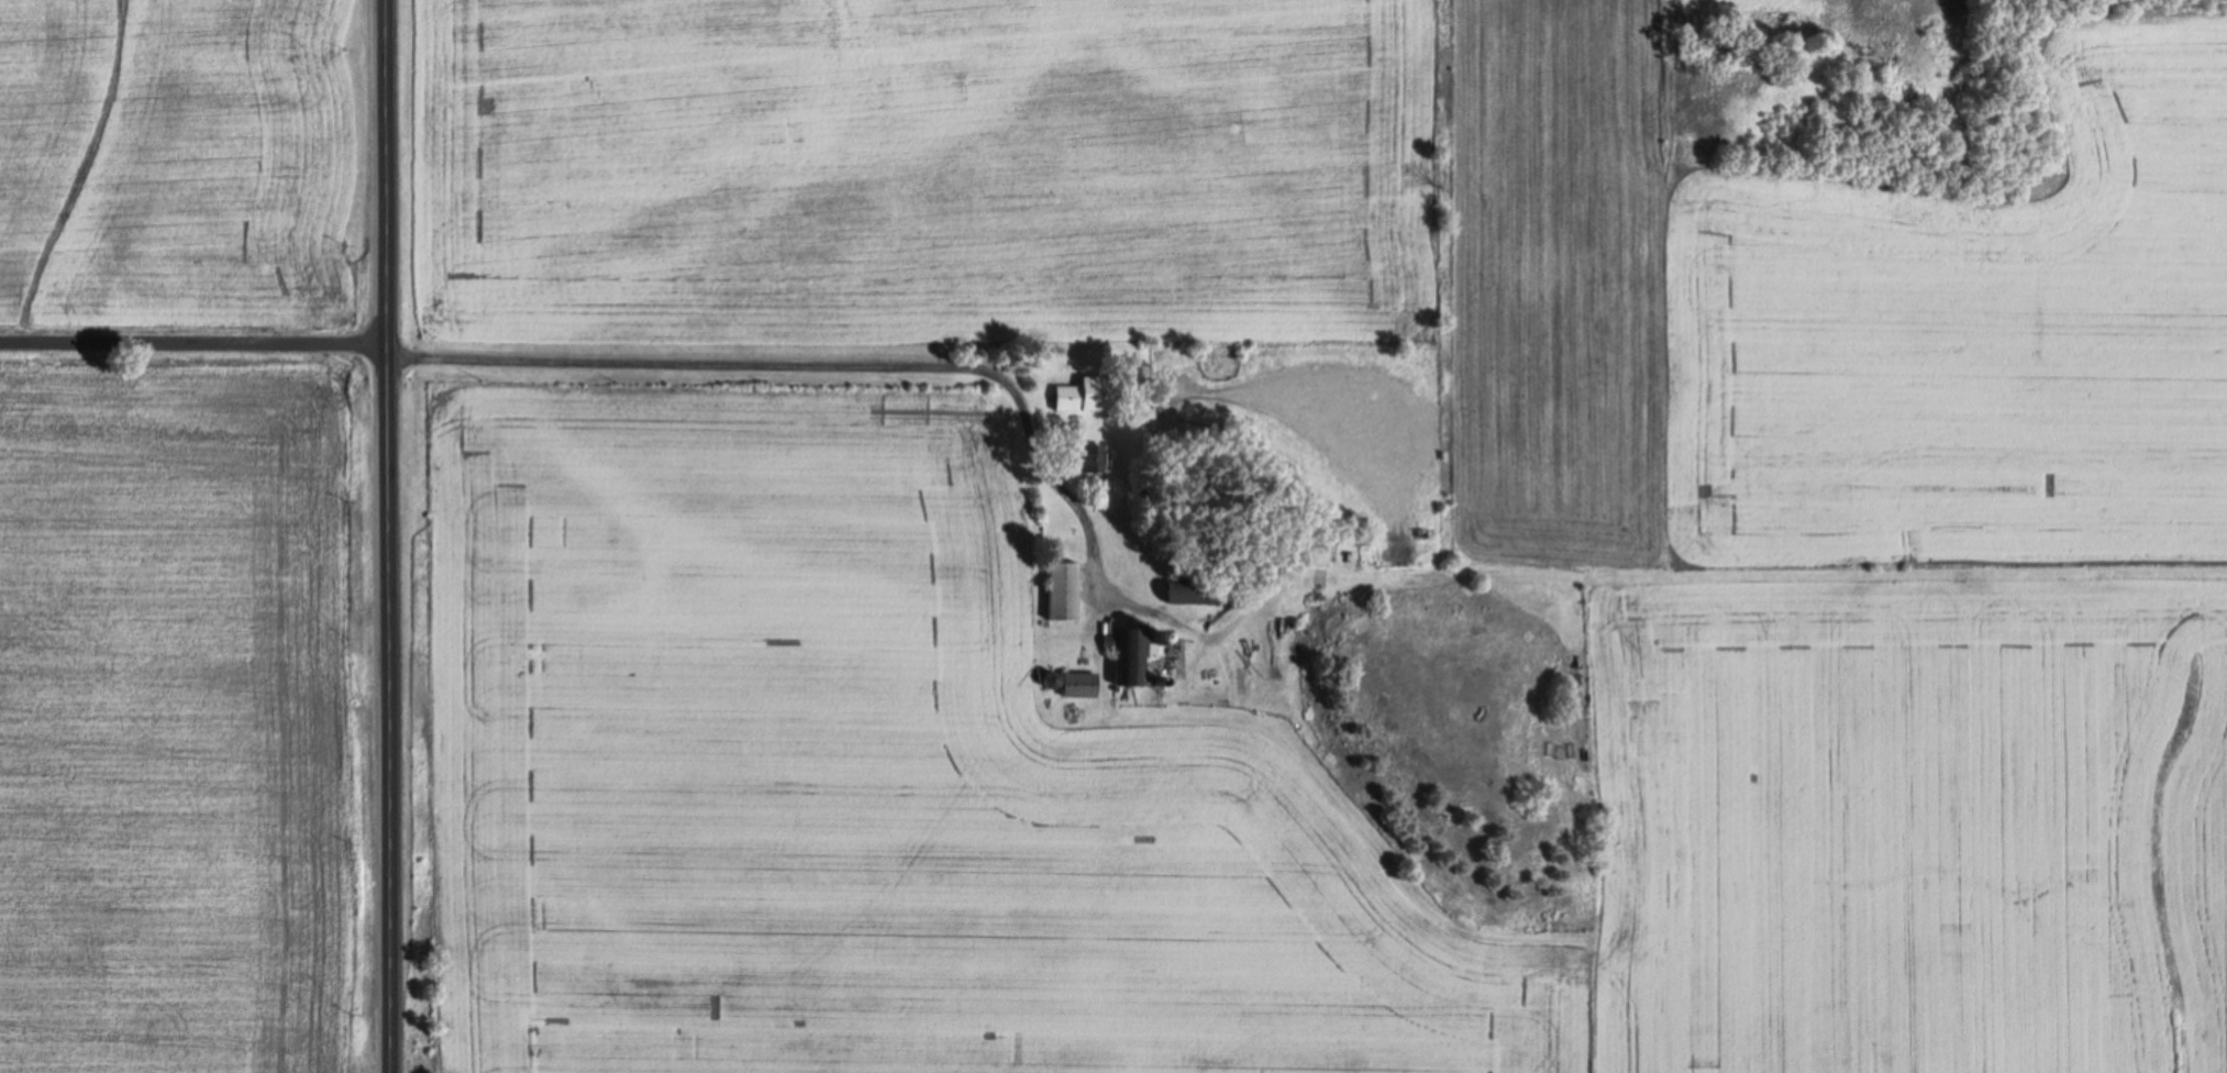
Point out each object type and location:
road: (192, 342)
road: (821, 362)
building: (1084, 394)
building: (1089, 457)
road: (387, 536)
building: (1325, 552)
building: (1062, 589)
building: (1196, 593)
building: (1133, 654)
building: (1077, 684)

